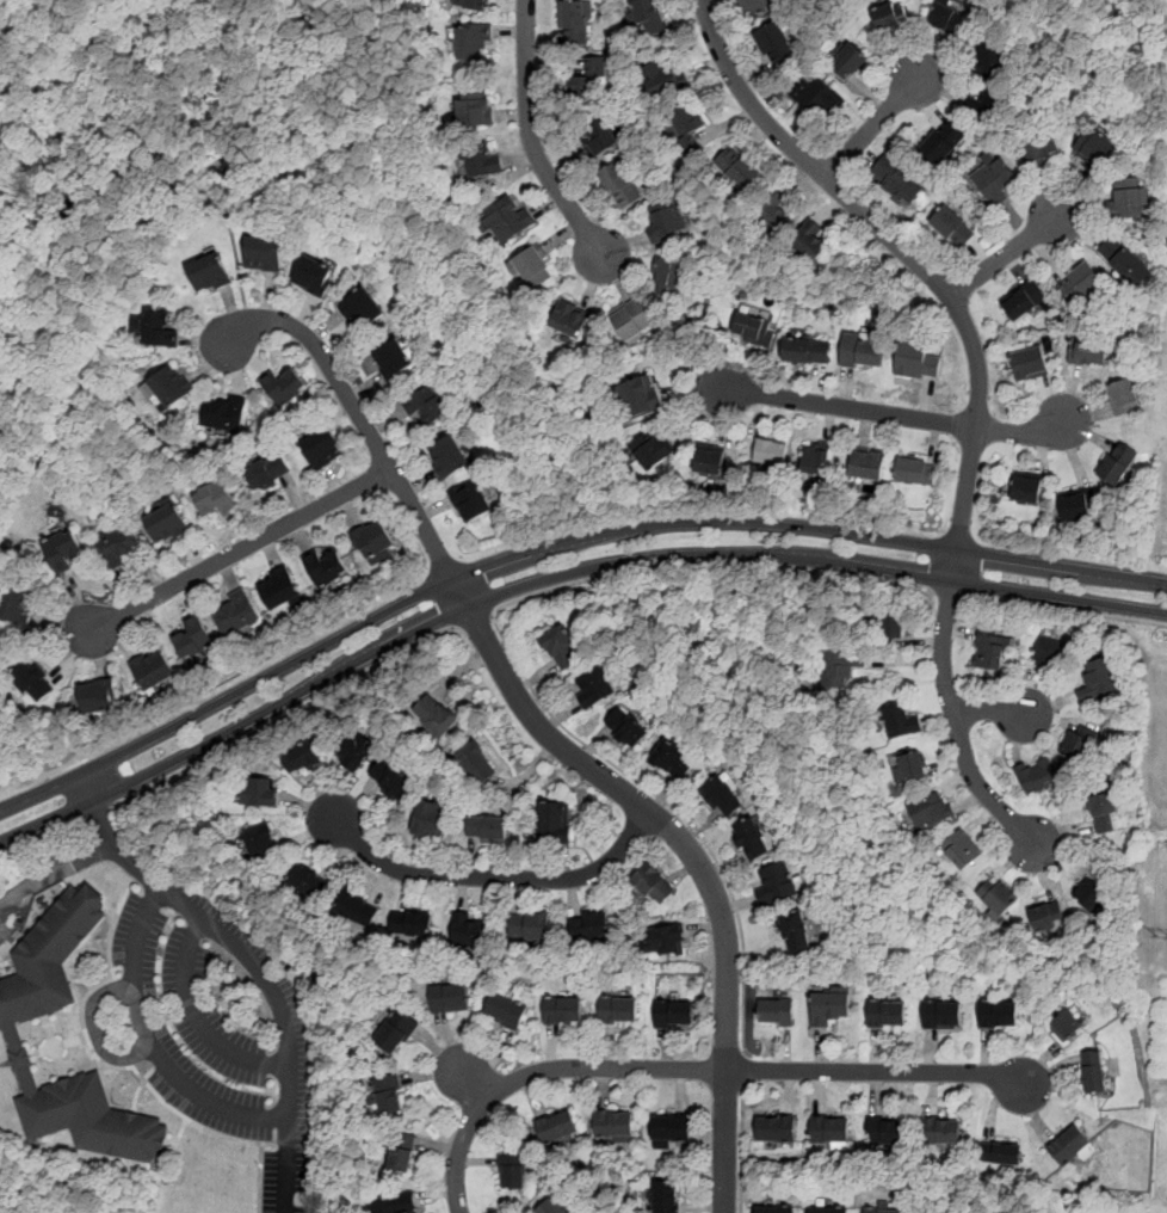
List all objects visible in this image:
building: (476, 5)
building: (754, 5)
building: (648, 17)
building: (890, 17)
building: (946, 18)
building: (575, 20)
road: (1134, 31)
building: (471, 43)
building: (776, 44)
building: (994, 57)
building: (848, 61)
building: (592, 76)
building: (667, 82)
building: (821, 99)
building: (990, 109)
building: (473, 112)
building: (685, 127)
road: (872, 128)
building: (598, 138)
building: (941, 144)
building: (1039, 146)
road: (535, 147)
building: (1094, 148)
park: (174, 155)
building: (484, 161)
building: (737, 168)
building: (895, 180)
building: (993, 183)
road: (191, 185)
building: (620, 186)
building: (1128, 202)
building: (507, 220)
building: (767, 220)
building: (665, 223)
building: (952, 229)
road: (234, 239)
building: (807, 247)
building: (264, 252)
road: (901, 252)
road: (1005, 257)
building: (1124, 260)
building: (533, 266)
building: (210, 272)
building: (314, 275)
building: (669, 277)
building: (1081, 282)
building: (1023, 298)
building: (362, 308)
building: (567, 318)
building: (632, 320)
building: (752, 328)
building: (160, 330)
building: (807, 350)
building: (1088, 351)
building: (863, 352)
building: (396, 357)
building: (916, 361)
building: (1029, 363)
building: (172, 384)
building: (285, 387)
building: (638, 395)
building: (1123, 395)
building: (426, 404)
road: (356, 411)
road: (890, 412)
building: (223, 415)
building: (322, 448)
building: (652, 451)
building: (767, 452)
building: (449, 456)
building: (816, 458)
building: (708, 462)
building: (1118, 463)
building: (866, 464)
building: (914, 472)
building: (267, 473)
building: (1026, 489)
building: (215, 500)
building: (471, 501)
building: (1076, 505)
building: (166, 523)
building: (372, 540)
building: (118, 543)
road: (556, 548)
building: (63, 552)
road: (235, 552)
building: (326, 566)
road: (710, 567)
road: (556, 577)
building: (279, 587)
road: (946, 593)
building: (17, 603)
road: (1067, 609)
building: (236, 612)
road: (473, 618)
building: (890, 627)
building: (191, 639)
building: (561, 647)
building: (990, 652)
building: (1046, 654)
building: (836, 666)
building: (154, 671)
building: (32, 681)
building: (1098, 681)
building: (594, 686)
building: (99, 696)
road: (953, 709)
road: (989, 709)
road: (282, 716)
building: (436, 716)
building: (899, 721)
building: (629, 729)
building: (1079, 743)
building: (356, 751)
building: (302, 758)
building: (477, 762)
building: (673, 762)
building: (909, 768)
building: (1037, 777)
building: (391, 780)
building: (259, 792)
building: (723, 798)
road: (673, 808)
building: (931, 812)
building: (1104, 813)
road: (95, 814)
building: (428, 818)
building: (552, 819)
building: (487, 829)
road: (41, 837)
building: (751, 838)
building: (263, 843)
road: (691, 851)
building: (961, 851)
road: (54, 872)
road: (490, 876)
building: (308, 882)
building: (776, 882)
building: (654, 885)
building: (1091, 894)
building: (998, 898)
building: (357, 907)
building: (1046, 915)
building: (412, 923)
building: (588, 925)
building: (467, 926)
building: (530, 926)
building: (795, 931)
power tower: (1162, 938)
building: (666, 940)
road: (254, 963)
building: (449, 997)
building: (829, 1003)
building: (618, 1008)
building: (562, 1009)
building: (505, 1010)
building: (777, 1011)
building: (887, 1011)
building: (998, 1012)
building: (673, 1014)
building: (943, 1014)
building: (11, 1021)
road: (202, 1023)
building: (1066, 1026)
building: (396, 1032)
road: (156, 1045)
road: (746, 1070)
building: (1094, 1071)
road: (542, 1072)
road: (878, 1072)
building: (387, 1095)
building: (613, 1125)
building: (556, 1126)
building: (776, 1127)
building: (828, 1127)
building: (671, 1128)
building: (887, 1129)
building: (943, 1132)
road: (741, 1145)
building: (1069, 1145)
building: (399, 1151)
building: (999, 1152)
building: (512, 1170)
building: (665, 1196)
building: (395, 1202)
building: (554, 1206)
building: (776, 1209)
building: (827, 1209)
building: (881, 1209)
building: (937, 1212)

